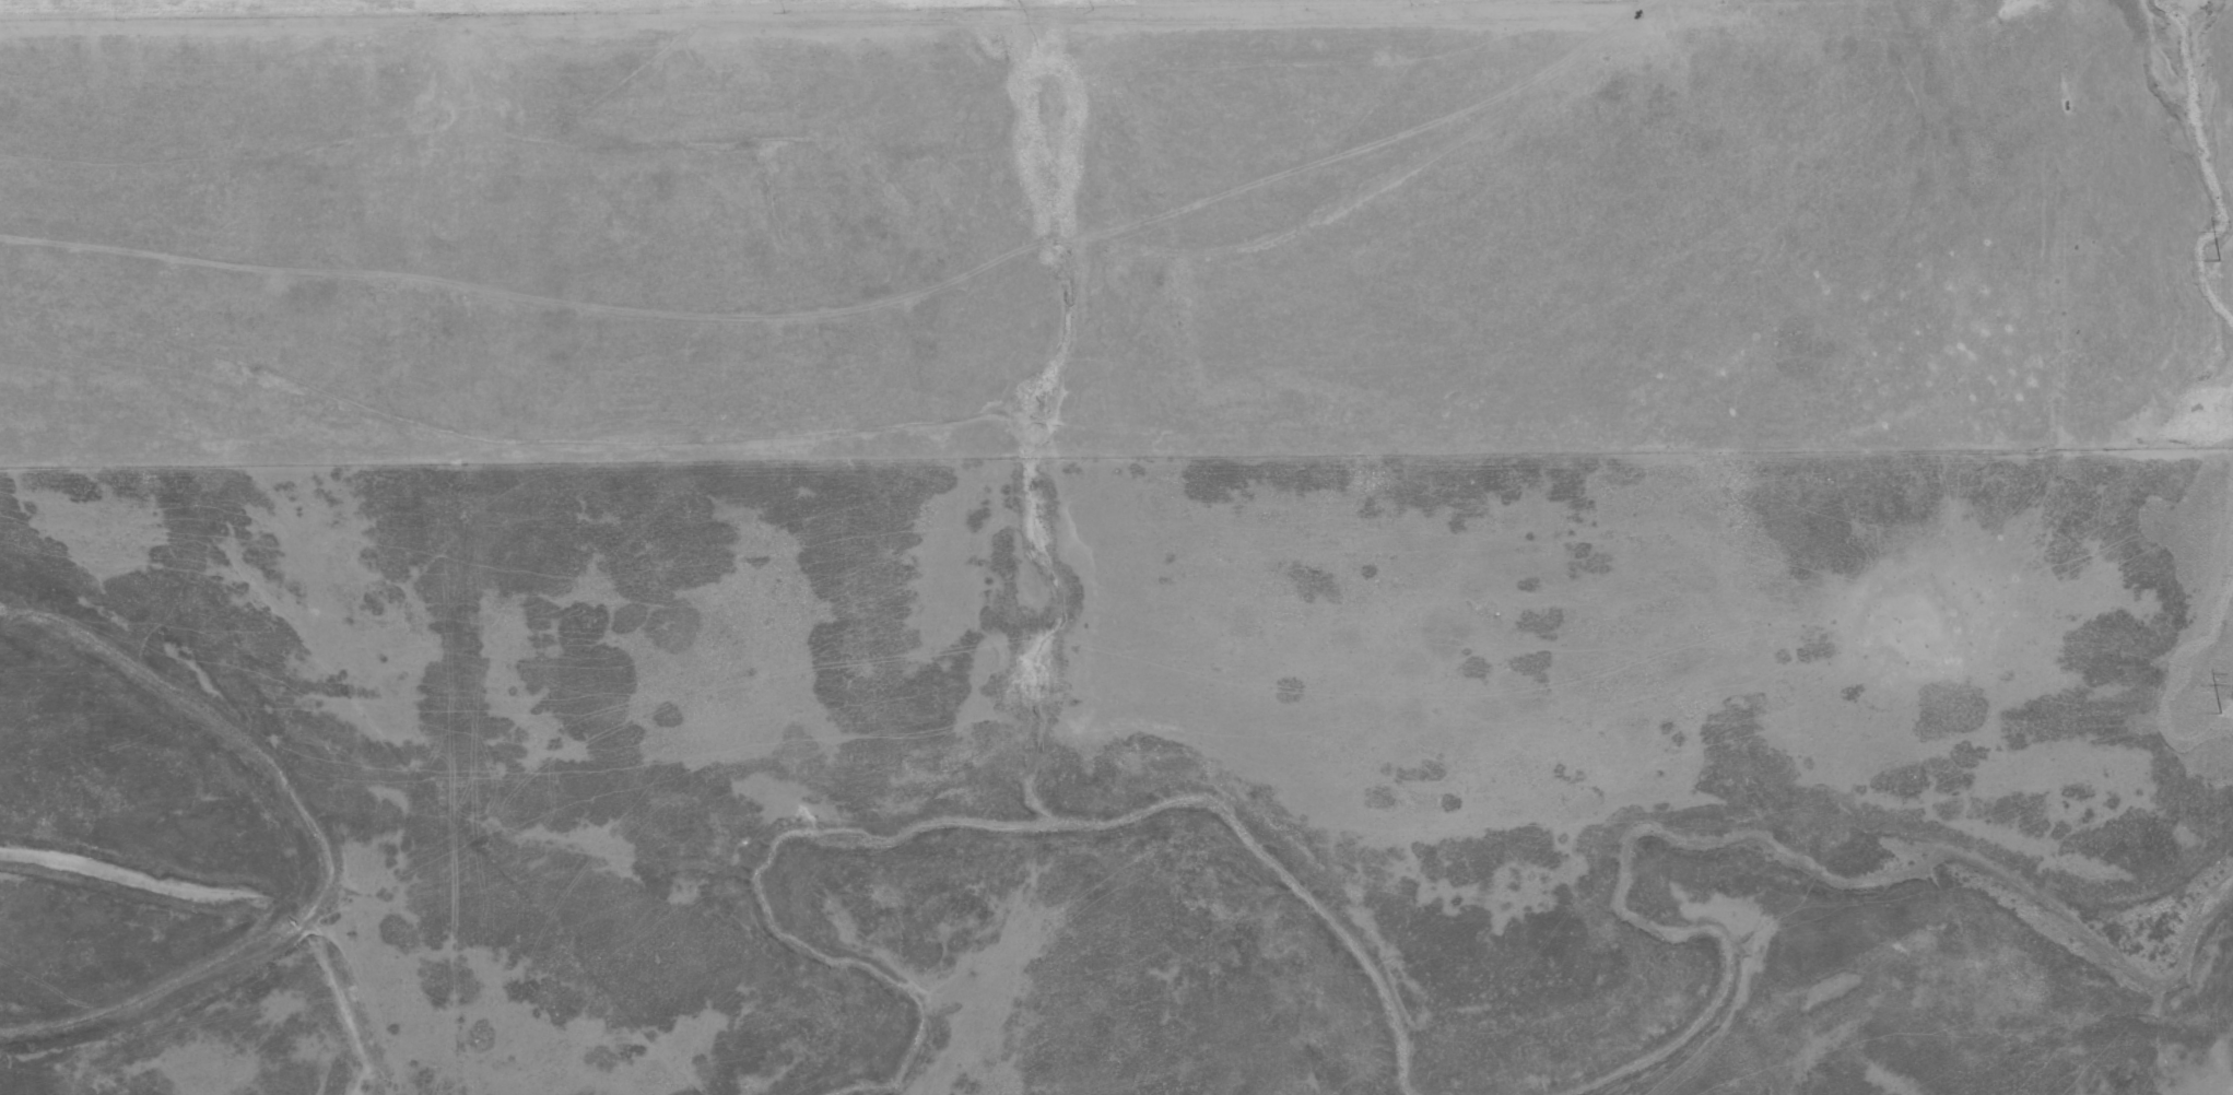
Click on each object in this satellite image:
power tower: (2218, 259)
power tower: (2216, 713)

